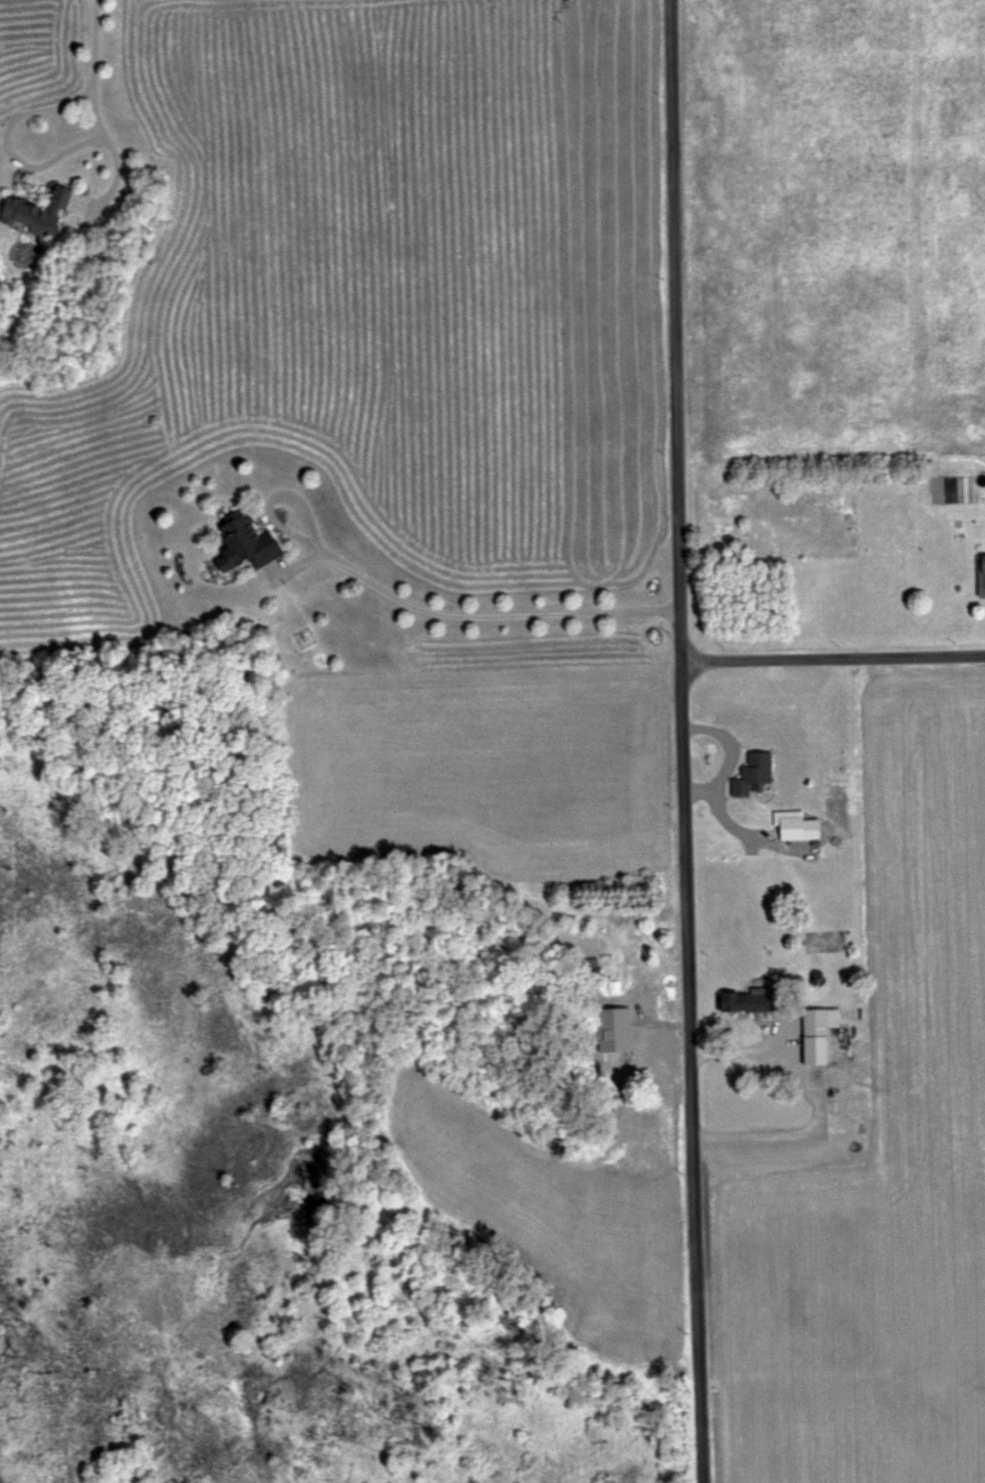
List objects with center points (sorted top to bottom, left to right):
road: (91, 44)
road: (3, 139)
building: (39, 212)
road: (272, 509)
building: (247, 543)
building: (984, 571)
road: (482, 619)
road: (833, 658)
road: (682, 741)
building: (753, 773)
building: (750, 999)
building: (817, 1038)
road: (746, 1050)
road: (785, 1138)

